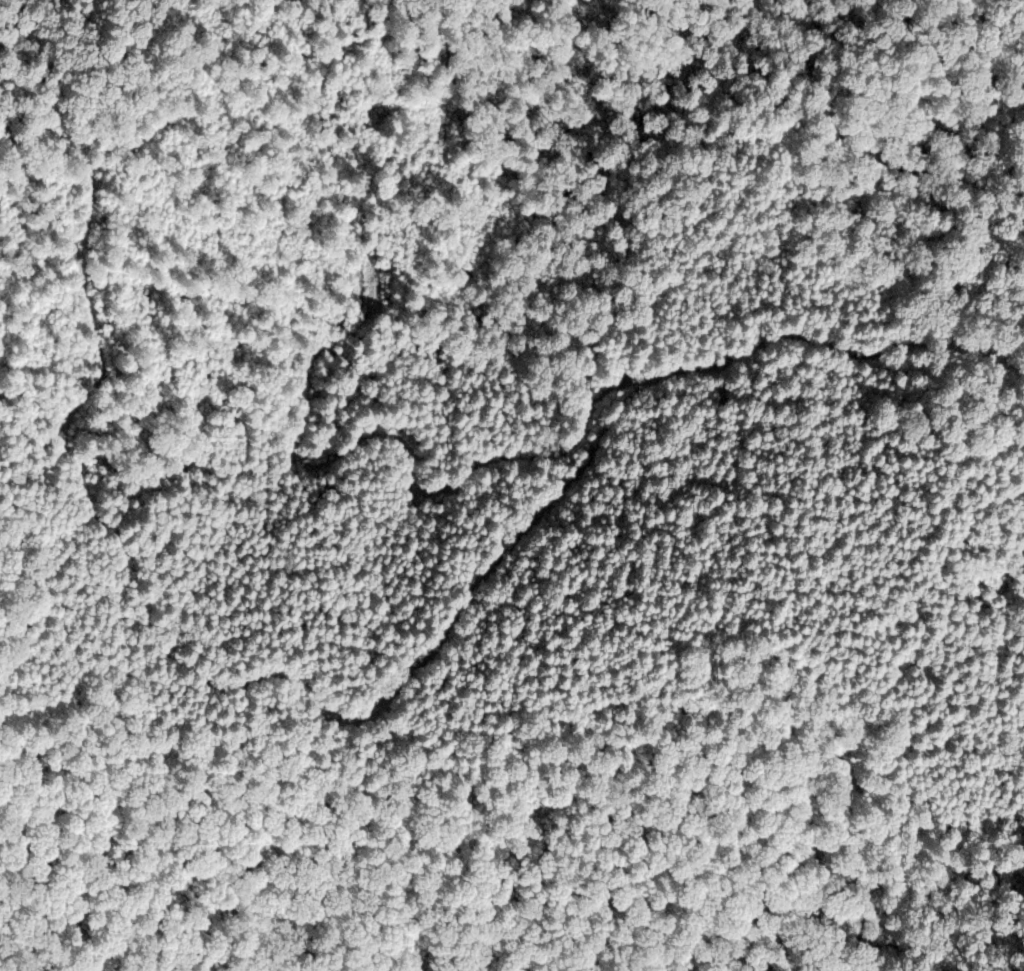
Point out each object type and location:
road: (157, 88)
road: (38, 98)
road: (54, 184)
road: (839, 348)
road: (296, 435)
road: (212, 680)

